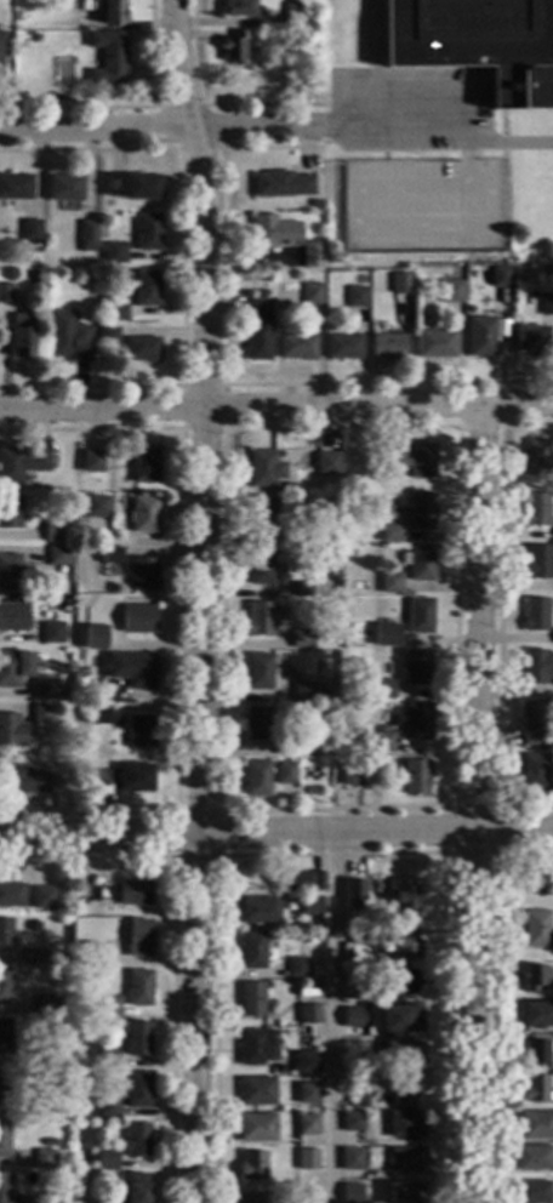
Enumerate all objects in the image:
building: (86, 6)
building: (238, 7)
building: (113, 11)
building: (292, 13)
road: (371, 34)
building: (478, 44)
building: (234, 46)
building: (1, 47)
building: (108, 56)
road: (176, 63)
building: (293, 75)
road: (211, 103)
parking lot: (407, 108)
road: (159, 126)
road: (438, 126)
road: (215, 146)
road: (462, 156)
building: (280, 183)
building: (133, 184)
building: (64, 187)
building: (16, 189)
building: (315, 204)
parking lot: (423, 205)
road: (483, 224)
building: (148, 232)
building: (273, 232)
building: (32, 234)
building: (87, 235)
building: (115, 251)
building: (312, 255)
building: (500, 275)
building: (400, 283)
building: (146, 287)
building: (451, 291)
building: (6, 292)
building: (310, 293)
building: (355, 296)
building: (546, 304)
building: (115, 313)
building: (378, 324)
building: (258, 330)
building: (108, 335)
building: (21, 336)
building: (480, 336)
building: (68, 337)
building: (530, 338)
building: (434, 342)
building: (297, 346)
building: (342, 346)
building: (387, 346)
building: (142, 348)
road: (223, 366)
road: (275, 406)
road: (478, 424)
road: (179, 427)
road: (222, 428)
building: (536, 456)
building: (411, 457)
building: (91, 461)
building: (21, 463)
building: (143, 463)
building: (326, 463)
building: (263, 468)
building: (97, 506)
building: (536, 508)
building: (10, 512)
building: (420, 512)
building: (142, 514)
building: (260, 518)
building: (53, 530)
building: (389, 532)
building: (320, 536)
building: (110, 554)
building: (58, 557)
building: (537, 560)
building: (417, 561)
building: (261, 565)
building: (12, 571)
building: (139, 571)
building: (389, 582)
building: (300, 588)
building: (534, 612)
building: (418, 615)
building: (12, 616)
road: (496, 617)
building: (137, 618)
building: (258, 618)
building: (52, 632)
building: (93, 637)
building: (389, 637)
building: (302, 638)
building: (41, 663)
road: (199, 663)
building: (536, 666)
building: (15, 667)
building: (416, 667)
building: (132, 668)
building: (260, 669)
building: (46, 688)
building: (382, 689)
building: (62, 690)
building: (302, 690)
building: (120, 701)
building: (42, 713)
building: (99, 714)
building: (414, 720)
building: (256, 723)
building: (534, 724)
building: (382, 728)
building: (139, 730)
building: (13, 731)
building: (381, 741)
building: (301, 743)
building: (46, 759)
building: (535, 770)
building: (285, 772)
building: (352, 774)
building: (415, 776)
building: (129, 777)
building: (256, 777)
building: (23, 780)
road: (474, 804)
road: (375, 828)
road: (98, 834)
road: (450, 850)
road: (335, 853)
road: (216, 854)
building: (534, 873)
building: (289, 879)
building: (318, 880)
building: (126, 891)
building: (12, 894)
building: (354, 894)
building: (403, 894)
building: (44, 896)
building: (312, 905)
building: (260, 910)
building: (535, 928)
building: (6, 935)
building: (361, 935)
building: (138, 937)
building: (404, 942)
building: (252, 948)
building: (34, 956)
building: (109, 957)
building: (300, 967)
building: (534, 976)
building: (403, 981)
building: (5, 986)
building: (138, 987)
building: (353, 988)
road: (491, 997)
building: (252, 998)
building: (46, 1004)
building: (108, 1005)
building: (537, 1013)
building: (310, 1014)
road: (329, 1016)
building: (400, 1019)
building: (354, 1024)
building: (5, 1036)
building: (137, 1037)
building: (257, 1045)
building: (535, 1051)
building: (404, 1054)
building: (107, 1056)
building: (28, 1057)
building: (308, 1061)
building: (5, 1087)
building: (534, 1088)
building: (137, 1089)
building: (256, 1090)
building: (404, 1090)
building: (308, 1091)
building: (359, 1094)
building: (44, 1107)
building: (107, 1107)
building: (353, 1121)
building: (405, 1123)
building: (308, 1124)
building: (536, 1124)
building: (257, 1127)
building: (4, 1138)
building: (136, 1140)
building: (49, 1142)
building: (532, 1156)
building: (44, 1157)
building: (106, 1158)
building: (308, 1158)
building: (352, 1158)
building: (405, 1158)
building: (252, 1165)
building: (4, 1187)
building: (135, 1187)
building: (532, 1191)
building: (352, 1192)
building: (403, 1192)
building: (307, 1197)
building: (252, 1198)
building: (29, 1199)
building: (103, 1201)

